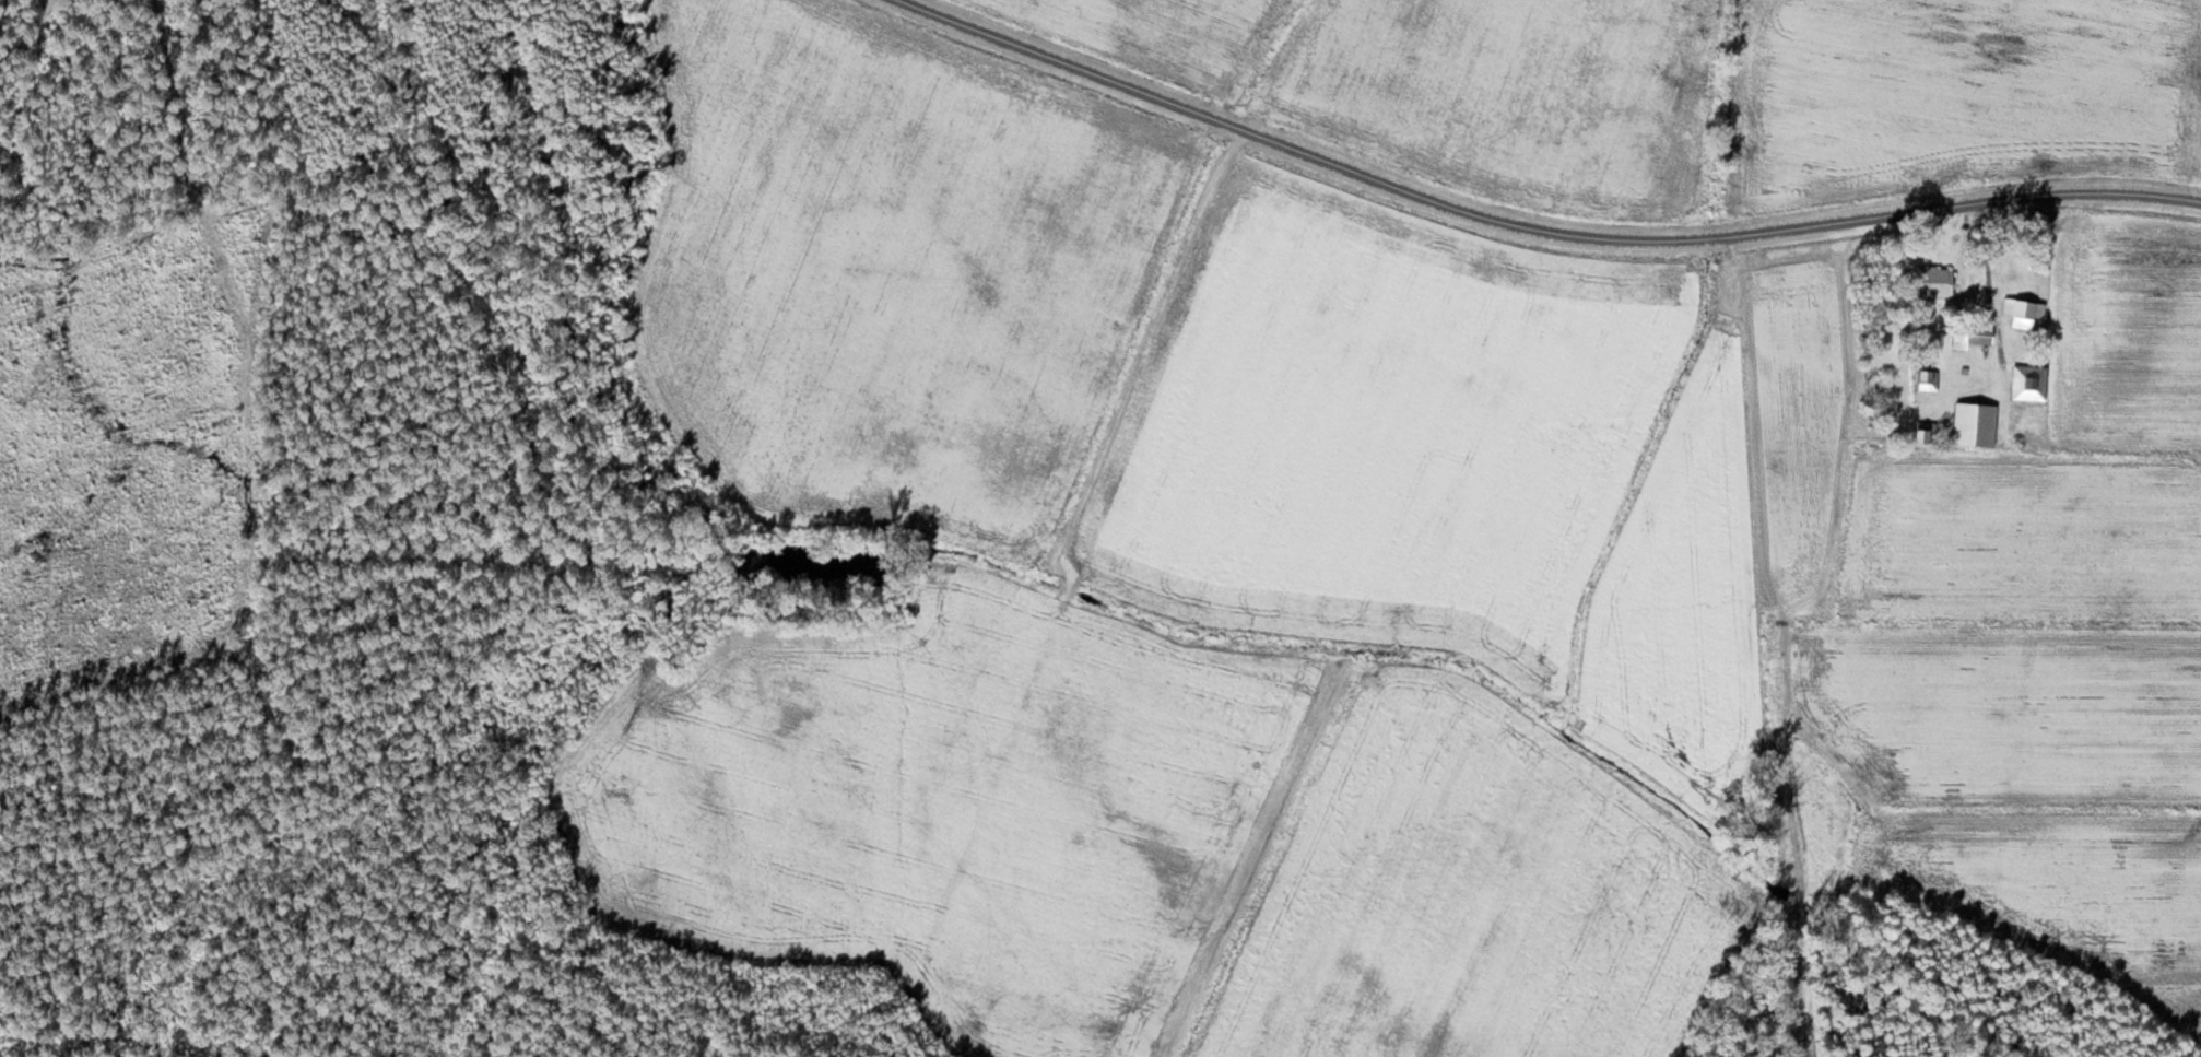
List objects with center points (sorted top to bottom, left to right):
road: (1532, 234)
building: (1935, 281)
building: (2025, 310)
building: (1973, 336)
building: (1930, 379)
building: (2031, 380)
building: (1977, 423)
building: (1927, 431)

